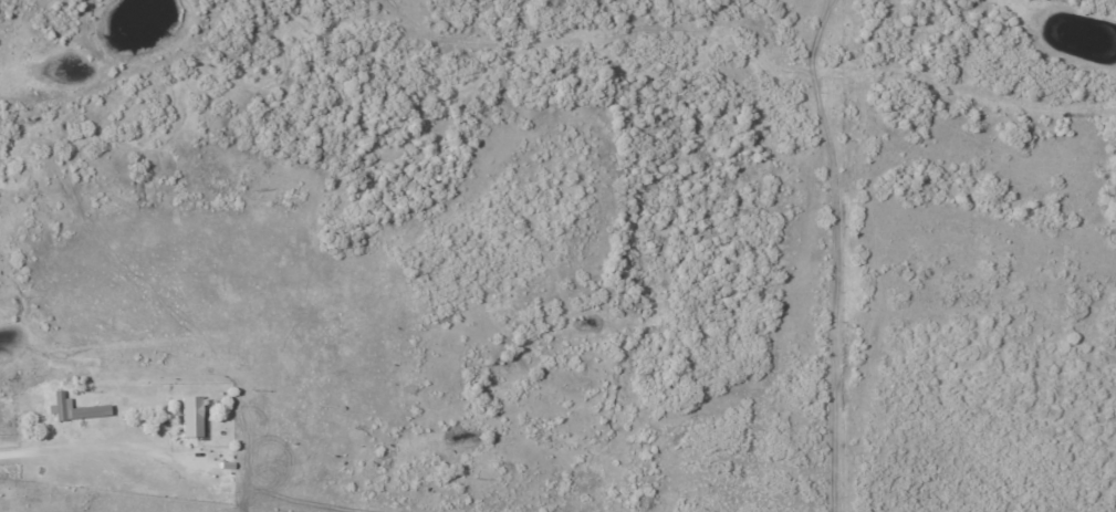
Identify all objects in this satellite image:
building: (74, 408)
building: (191, 416)
road: (67, 440)

